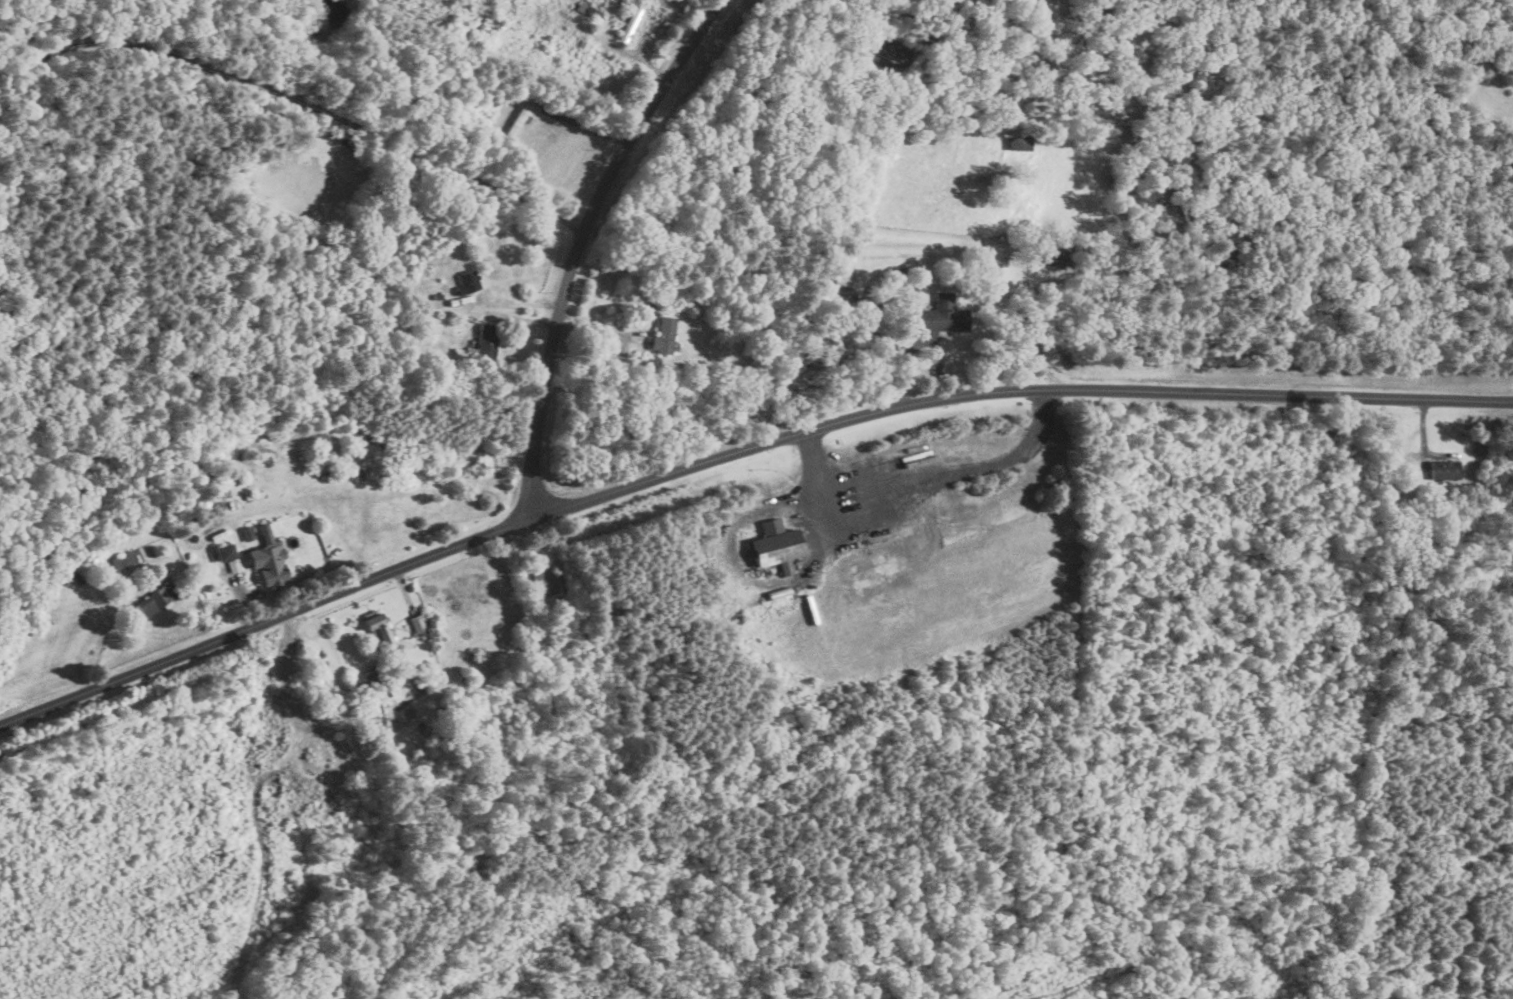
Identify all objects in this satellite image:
road: (299, 100)
road: (583, 125)
road: (579, 244)
building: (467, 281)
road: (602, 329)
road: (1028, 334)
building: (666, 335)
road: (935, 354)
road: (897, 361)
road: (735, 453)
road: (936, 479)
building: (781, 542)
building: (244, 547)
building: (229, 556)
building: (123, 560)
building: (272, 563)
road: (754, 577)

